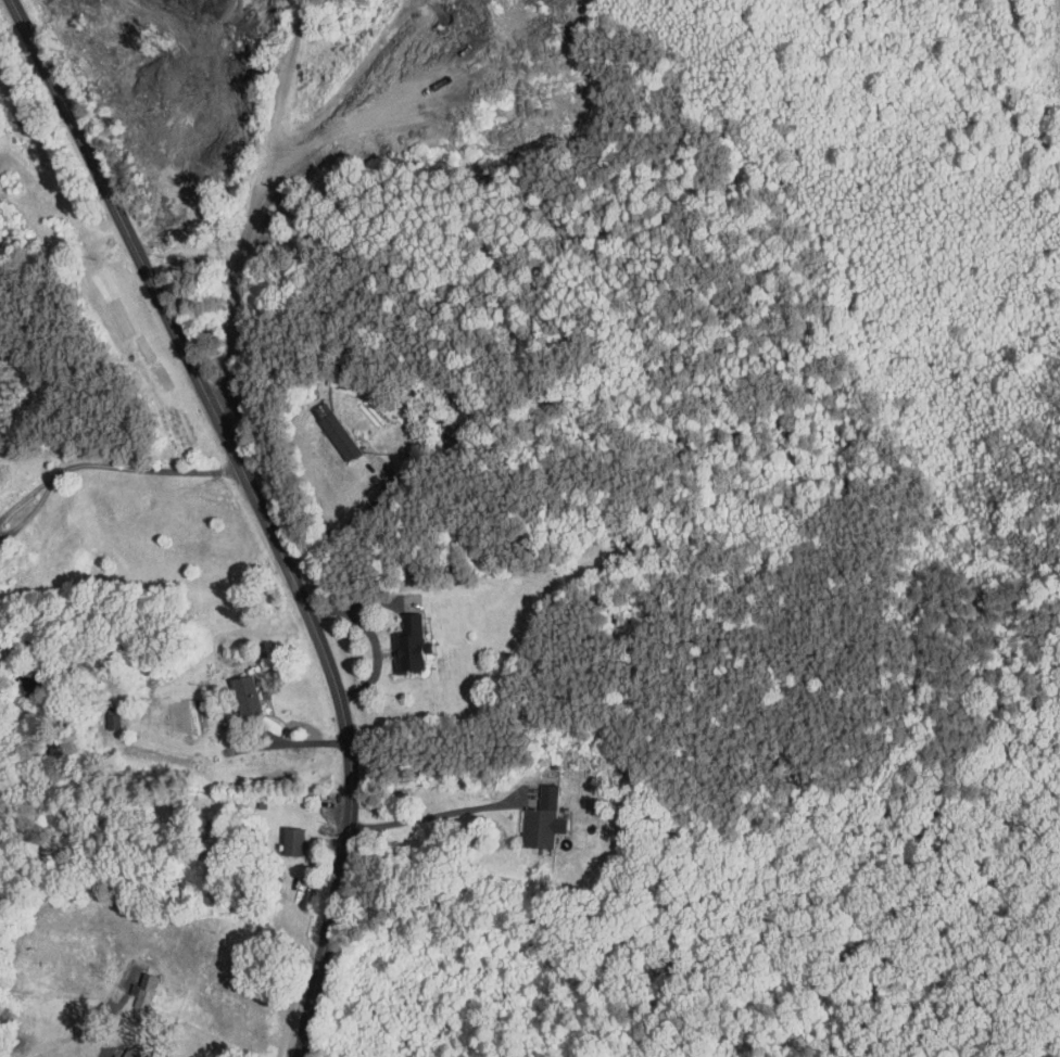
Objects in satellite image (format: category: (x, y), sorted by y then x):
road: (239, 282)
building: (325, 429)
road: (147, 469)
road: (25, 498)
road: (264, 509)
road: (31, 513)
building: (395, 638)
building: (231, 691)
road: (296, 744)
road: (433, 814)
building: (529, 814)
building: (278, 835)
building: (129, 985)
building: (112, 1050)
building: (150, 1056)

